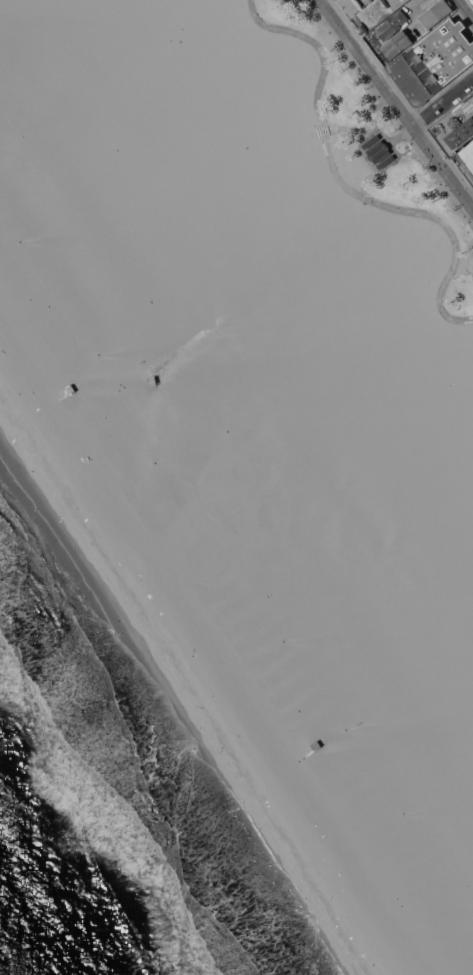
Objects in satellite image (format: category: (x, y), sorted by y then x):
building: (471, 1)
road: (465, 9)
building: (378, 12)
building: (435, 13)
building: (392, 24)
building: (397, 44)
building: (433, 63)
road: (395, 102)
road: (444, 104)
road: (368, 127)
building: (456, 127)
road: (317, 132)
road: (403, 136)
building: (370, 141)
building: (378, 151)
building: (466, 160)
building: (385, 161)
road: (343, 186)
building: (61, 392)
building: (319, 764)

